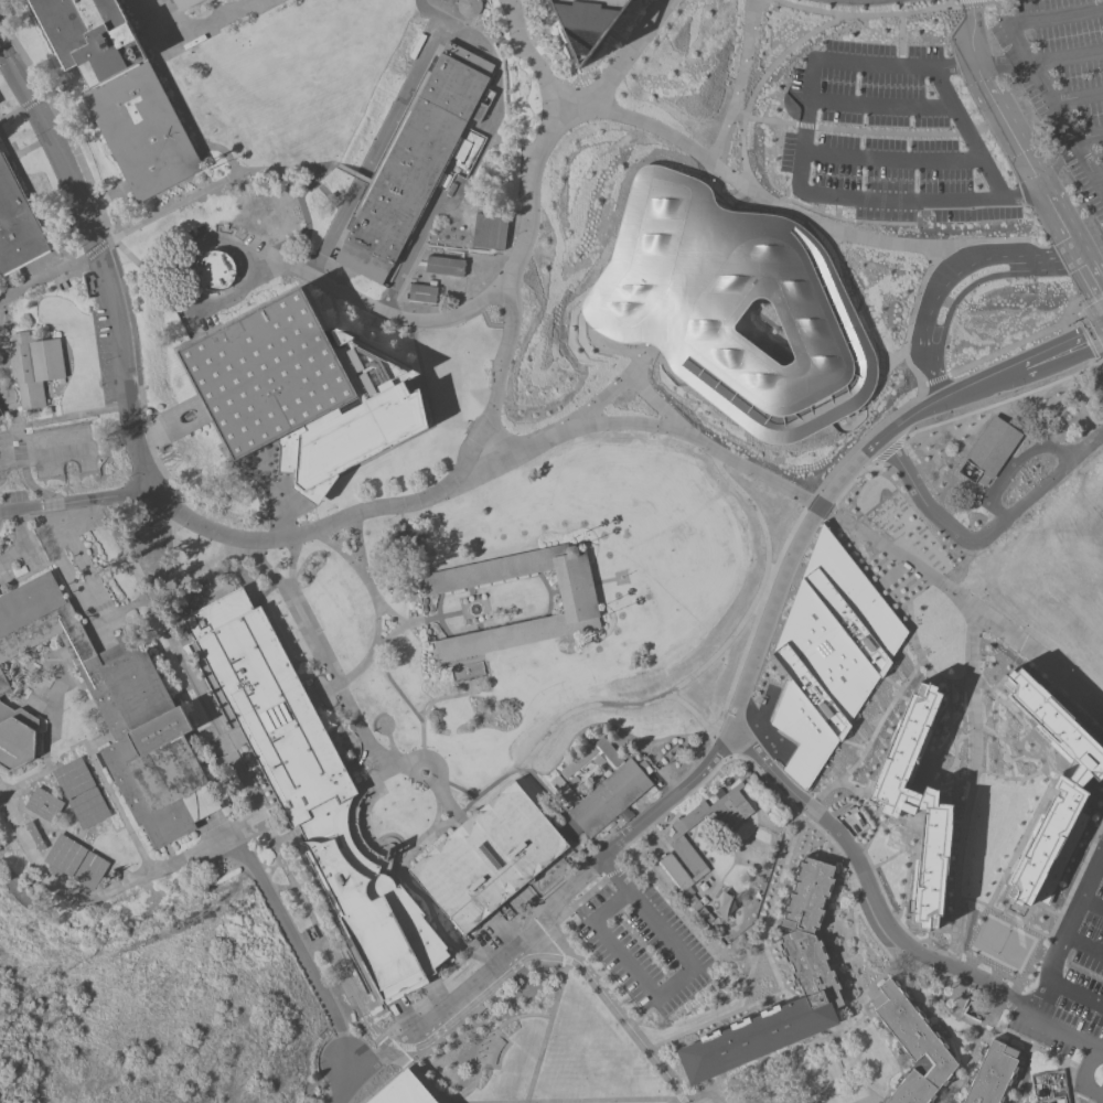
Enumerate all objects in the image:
building: (186, 3)
road: (960, 4)
building: (467, 7)
road: (996, 9)
road: (855, 14)
road: (473, 17)
road: (138, 19)
road: (207, 23)
building: (585, 23)
road: (540, 25)
road: (549, 25)
road: (451, 29)
street lamp: (505, 36)
road: (899, 39)
road: (482, 41)
road: (516, 42)
road: (115, 51)
road: (106, 57)
road: (1067, 57)
road: (1034, 68)
road: (614, 73)
road: (761, 81)
parking lot: (1061, 82)
building: (120, 92)
road: (45, 96)
road: (1078, 98)
road: (880, 100)
road: (20, 108)
street lamp: (534, 109)
road: (185, 111)
street lamp: (592, 129)
road: (848, 129)
road: (1008, 129)
road: (966, 133)
parking lot: (889, 135)
road: (1088, 137)
road: (200, 150)
road: (890, 160)
building: (415, 161)
road: (295, 167)
road: (800, 168)
road: (353, 173)
road: (306, 174)
road: (1099, 176)
road: (28, 188)
road: (103, 196)
road: (181, 200)
road: (301, 207)
road: (796, 211)
road: (511, 213)
building: (18, 224)
street lamp: (210, 229)
building: (489, 231)
street lamp: (239, 237)
street lamp: (181, 240)
road: (326, 243)
road: (95, 247)
road: (124, 249)
road: (479, 251)
road: (492, 251)
road: (507, 253)
road: (113, 254)
road: (306, 254)
road: (267, 257)
road: (65, 258)
road: (100, 263)
road: (278, 265)
building: (445, 265)
road: (689, 265)
building: (214, 270)
road: (179, 272)
road: (1089, 274)
road: (950, 276)
road: (41, 278)
road: (183, 278)
street lamp: (49, 281)
road: (465, 281)
road: (967, 287)
building: (422, 292)
street lamp: (15, 299)
road: (431, 304)
building: (741, 306)
street lamp: (491, 308)
road: (448, 310)
road: (335, 315)
road: (909, 315)
street lamp: (516, 321)
road: (485, 323)
street lamp: (456, 328)
street lamp: (566, 330)
street lamp: (2, 333)
road: (1090, 335)
road: (6, 349)
street lamp: (10, 354)
street lamp: (7, 357)
road: (7, 362)
street lamp: (104, 363)
road: (1024, 365)
building: (34, 366)
road: (2, 368)
road: (8, 371)
street lamp: (488, 375)
road: (188, 378)
road: (11, 382)
road: (414, 383)
building: (301, 392)
road: (4, 400)
road: (51, 400)
road: (496, 400)
road: (14, 405)
building: (0, 409)
road: (196, 410)
road: (78, 415)
road: (952, 417)
road: (199, 420)
road: (8, 427)
road: (667, 429)
road: (17, 431)
parking lot: (4, 441)
road: (390, 447)
building: (992, 447)
parking lot: (57, 449)
road: (41, 453)
road: (488, 458)
road: (1014, 460)
road: (11, 469)
street lamp: (126, 478)
road: (825, 480)
street lamp: (429, 483)
parking lot: (13, 496)
road: (97, 499)
road: (89, 504)
road: (100, 507)
road: (20, 508)
road: (753, 508)
road: (176, 510)
street lamp: (328, 512)
road: (15, 517)
road: (401, 517)
road: (4, 518)
street lamp: (233, 526)
street lamp: (175, 532)
building: (408, 534)
road: (966, 538)
park: (144, 539)
road: (23, 543)
road: (60, 543)
road: (357, 544)
road: (171, 551)
road: (78, 557)
road: (902, 558)
road: (60, 563)
parking lot: (22, 569)
road: (290, 570)
road: (195, 571)
street lamp: (164, 575)
flagpole: (621, 578)
road: (489, 580)
road: (544, 580)
road: (211, 582)
road: (589, 583)
road: (84, 587)
road: (555, 591)
road: (561, 591)
road: (265, 592)
road: (471, 592)
building: (1081, 593)
building: (1046, 601)
road: (376, 602)
road: (439, 603)
building: (579, 604)
road: (549, 607)
fountain: (475, 610)
road: (109, 612)
road: (390, 612)
building: (216, 613)
road: (445, 617)
road: (486, 617)
building: (40, 619)
road: (479, 627)
road: (763, 628)
road: (445, 630)
road: (395, 631)
road: (501, 631)
road: (98, 633)
road: (66, 651)
road: (162, 651)
road: (321, 652)
road: (715, 652)
building: (828, 655)
street lamp: (41, 662)
road: (448, 666)
road: (43, 667)
road: (186, 670)
building: (467, 672)
road: (39, 675)
road: (36, 677)
road: (904, 679)
road: (471, 681)
road: (41, 682)
road: (392, 682)
building: (3, 684)
street lamp: (476, 685)
road: (36, 686)
street lamp: (467, 686)
road: (54, 688)
road: (40, 689)
street lamp: (28, 690)
road: (182, 690)
road: (323, 690)
road: (49, 694)
road: (50, 695)
road: (7, 699)
road: (54, 699)
street lamp: (195, 700)
road: (430, 703)
road: (41, 704)
road: (610, 704)
road: (30, 705)
road: (41, 706)
road: (89, 706)
road: (35, 707)
road: (34, 711)
road: (52, 713)
road: (50, 721)
road: (1022, 725)
road: (206, 728)
building: (15, 736)
road: (233, 738)
road: (587, 738)
building: (148, 742)
road: (656, 756)
road: (39, 757)
street lamp: (446, 758)
street lamp: (89, 762)
street lamp: (368, 763)
road: (556, 771)
road: (38, 772)
street lamp: (232, 772)
street lamp: (532, 772)
road: (410, 773)
building: (73, 778)
road: (375, 779)
road: (743, 783)
building: (1050, 784)
road: (540, 785)
road: (436, 786)
building: (600, 786)
road: (459, 789)
road: (970, 789)
road: (852, 791)
road: (438, 793)
road: (780, 795)
road: (110, 797)
street lamp: (456, 801)
road: (724, 801)
street lamp: (247, 802)
building: (44, 804)
building: (320, 804)
road: (67, 805)
road: (450, 805)
building: (918, 806)
building: (88, 807)
road: (713, 808)
road: (365, 813)
road: (705, 813)
road: (668, 814)
street lamp: (795, 814)
road: (670, 821)
parking lot: (208, 822)
road: (447, 822)
road: (756, 824)
road: (721, 827)
road: (43, 829)
road: (114, 829)
road: (752, 829)
street lamp: (875, 831)
street lamp: (447, 833)
road: (693, 834)
building: (34, 835)
street lamp: (127, 835)
road: (657, 836)
building: (675, 836)
road: (768, 836)
road: (66, 837)
road: (1020, 837)
road: (285, 838)
road: (613, 838)
road: (397, 840)
road: (592, 842)
street lamp: (822, 843)
road: (397, 846)
road: (823, 848)
road: (47, 849)
street lamp: (181, 852)
road: (297, 852)
road: (636, 852)
building: (65, 854)
road: (170, 855)
road: (491, 855)
building: (488, 857)
road: (731, 857)
street lamp: (864, 857)
street lamp: (417, 858)
street lamp: (840, 861)
road: (742, 864)
road: (1101, 867)
building: (90, 869)
road: (702, 871)
road: (609, 872)
road: (751, 874)
road: (399, 875)
road: (711, 876)
road: (1074, 877)
road: (840, 879)
road: (863, 879)
street lamp: (106, 884)
road: (553, 888)
road: (111, 889)
road: (695, 890)
road: (710, 891)
building: (686, 892)
road: (1082, 900)
road: (575, 901)
road: (668, 901)
building: (698, 908)
road: (1092, 908)
road: (536, 910)
road: (767, 911)
street lamp: (850, 913)
street lamp: (890, 913)
road: (892, 915)
road: (1009, 917)
street lamp: (301, 921)
road: (440, 923)
road: (736, 924)
building: (309, 932)
road: (555, 934)
road: (295, 945)
road: (324, 945)
road: (131, 947)
parking lot: (642, 947)
road: (350, 951)
road: (1082, 951)
street lamp: (932, 952)
street lamp: (321, 959)
road: (733, 961)
road: (842, 961)
road: (771, 963)
road: (363, 971)
building: (812, 971)
street lamp: (856, 971)
road: (857, 974)
road: (474, 977)
road: (877, 978)
road: (1047, 978)
road: (674, 982)
road: (484, 983)
street lamp: (751, 983)
street lamp: (1005, 983)
street lamp: (923, 987)
road: (1074, 997)
street lamp: (343, 1000)
road: (360, 1009)
road: (810, 1010)
road: (454, 1016)
road: (639, 1017)
road: (715, 1018)
street lamp: (957, 1020)
road: (665, 1021)
road: (631, 1025)
parking lot: (1054, 1027)
road: (547, 1028)
road: (1058, 1029)
street lamp: (490, 1032)
road: (993, 1035)
street lamp: (484, 1038)
street lamp: (678, 1040)
street lamp: (979, 1041)
road: (485, 1042)
street lamp: (831, 1042)
street lamp: (481, 1046)
building: (911, 1046)
road: (971, 1049)
street lamp: (479, 1052)
street lamp: (837, 1057)
street lamp: (476, 1060)
street lamp: (1039, 1062)
road: (847, 1063)
road: (761, 1065)
street lamp: (844, 1072)
road: (824, 1073)
building: (990, 1073)
road: (1024, 1073)
road: (417, 1075)
road: (1086, 1078)
road: (788, 1081)
road: (341, 1082)
street lamp: (852, 1086)
building: (1049, 1088)
road: (716, 1089)
building: (400, 1090)
road: (739, 1090)
road: (1082, 1094)
parking lot: (1100, 1094)
road: (846, 1097)
road: (861, 1097)
road: (676, 1099)
road: (580, 1100)
road: (835, 1102)

